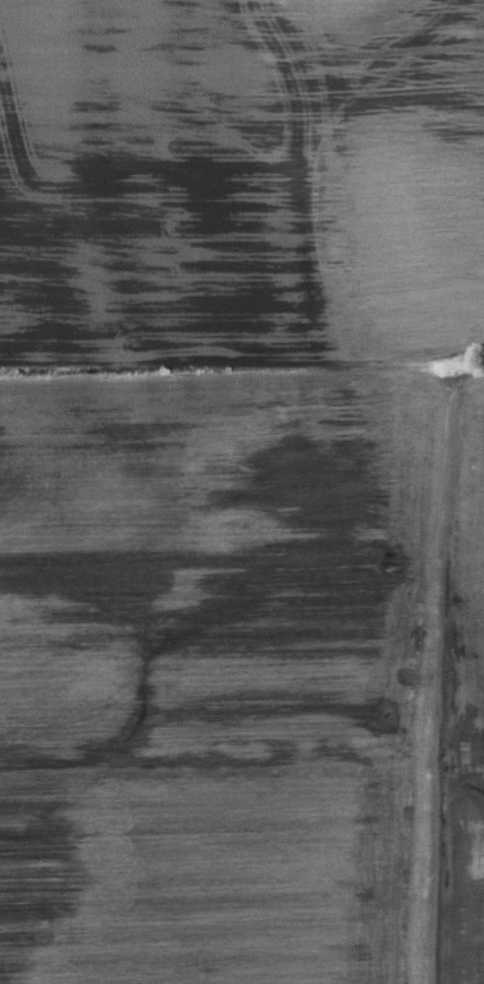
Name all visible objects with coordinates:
crop: (240, 180)

